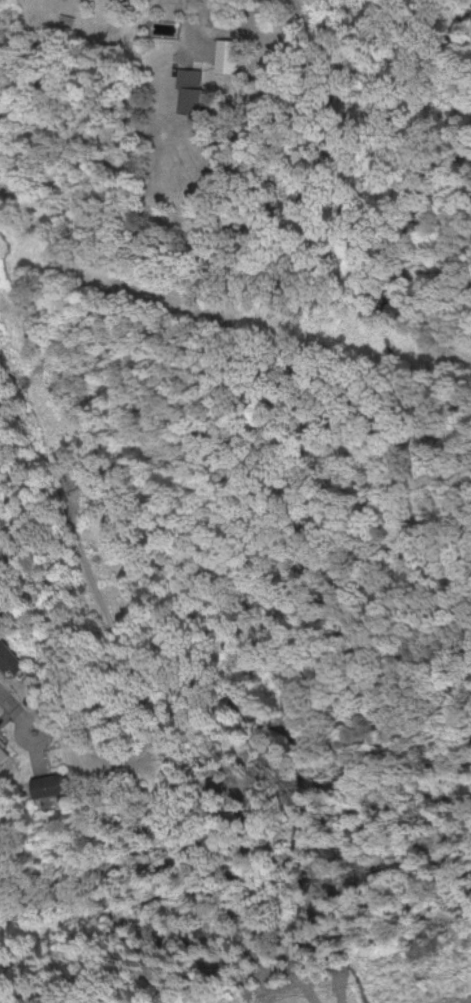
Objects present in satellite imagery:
building: (226, 55)
building: (189, 90)
building: (0, 629)
building: (10, 659)
road: (13, 706)
road: (43, 735)
building: (4, 753)
building: (49, 784)

